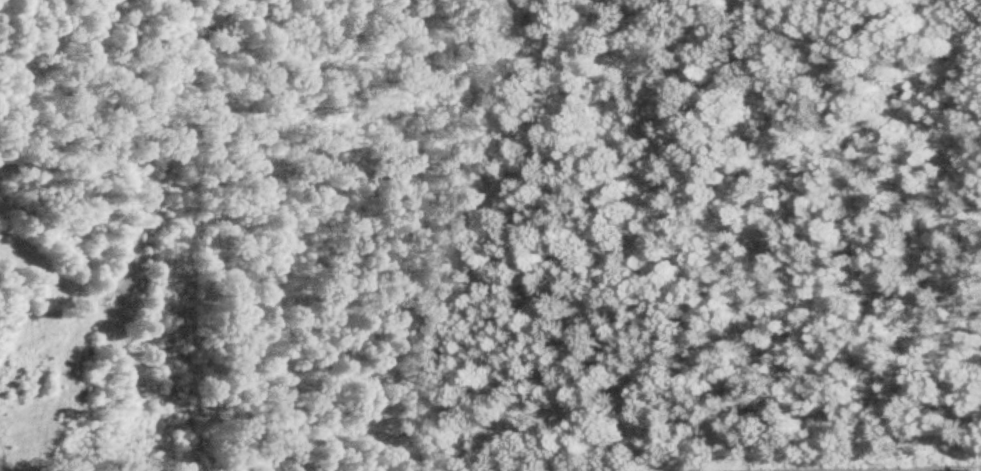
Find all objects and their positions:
road: (490, 456)

